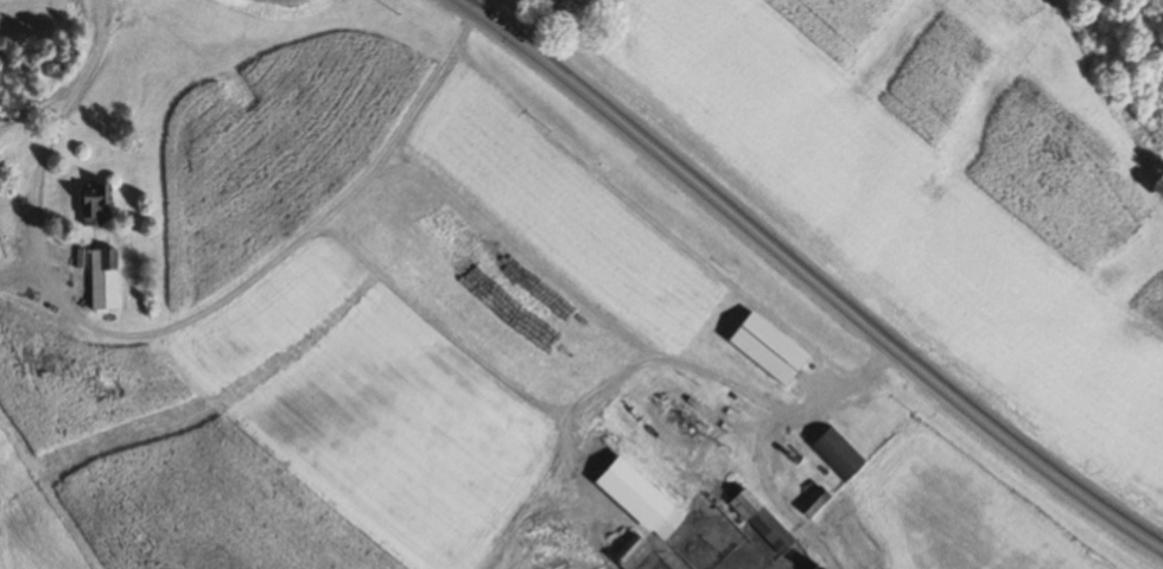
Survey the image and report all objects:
building: (564, 4)
road: (44, 126)
building: (94, 204)
building: (132, 241)
building: (102, 276)
road: (811, 277)
building: (765, 347)
road: (758, 431)
building: (837, 453)
building: (792, 455)
building: (638, 498)
building: (813, 501)
building: (761, 520)
building: (666, 523)
building: (630, 552)

